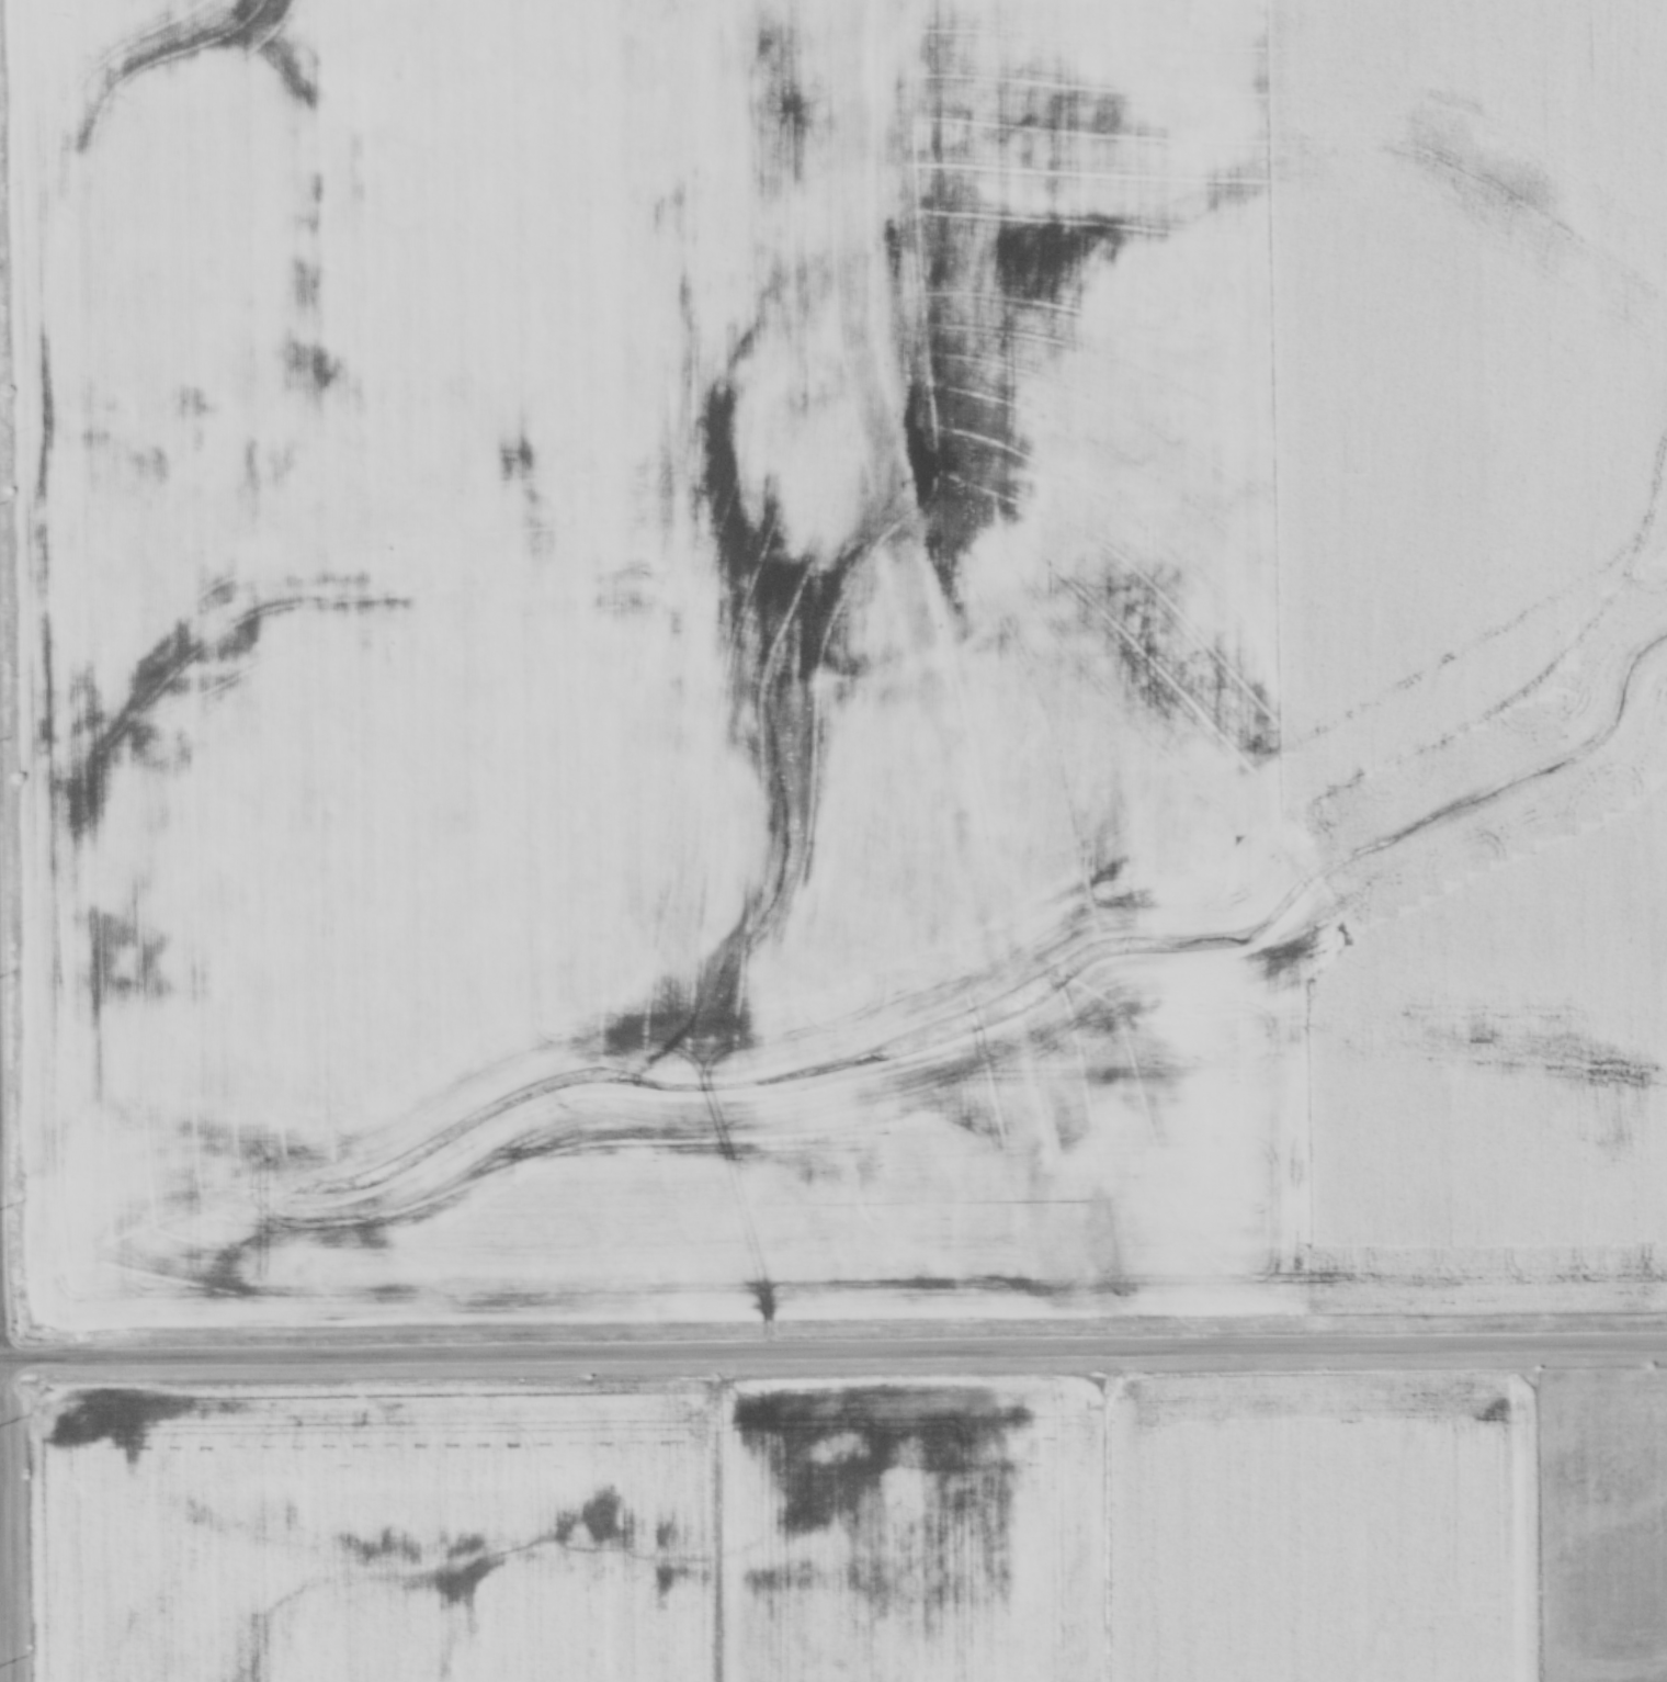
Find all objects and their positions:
road: (833, 1352)

